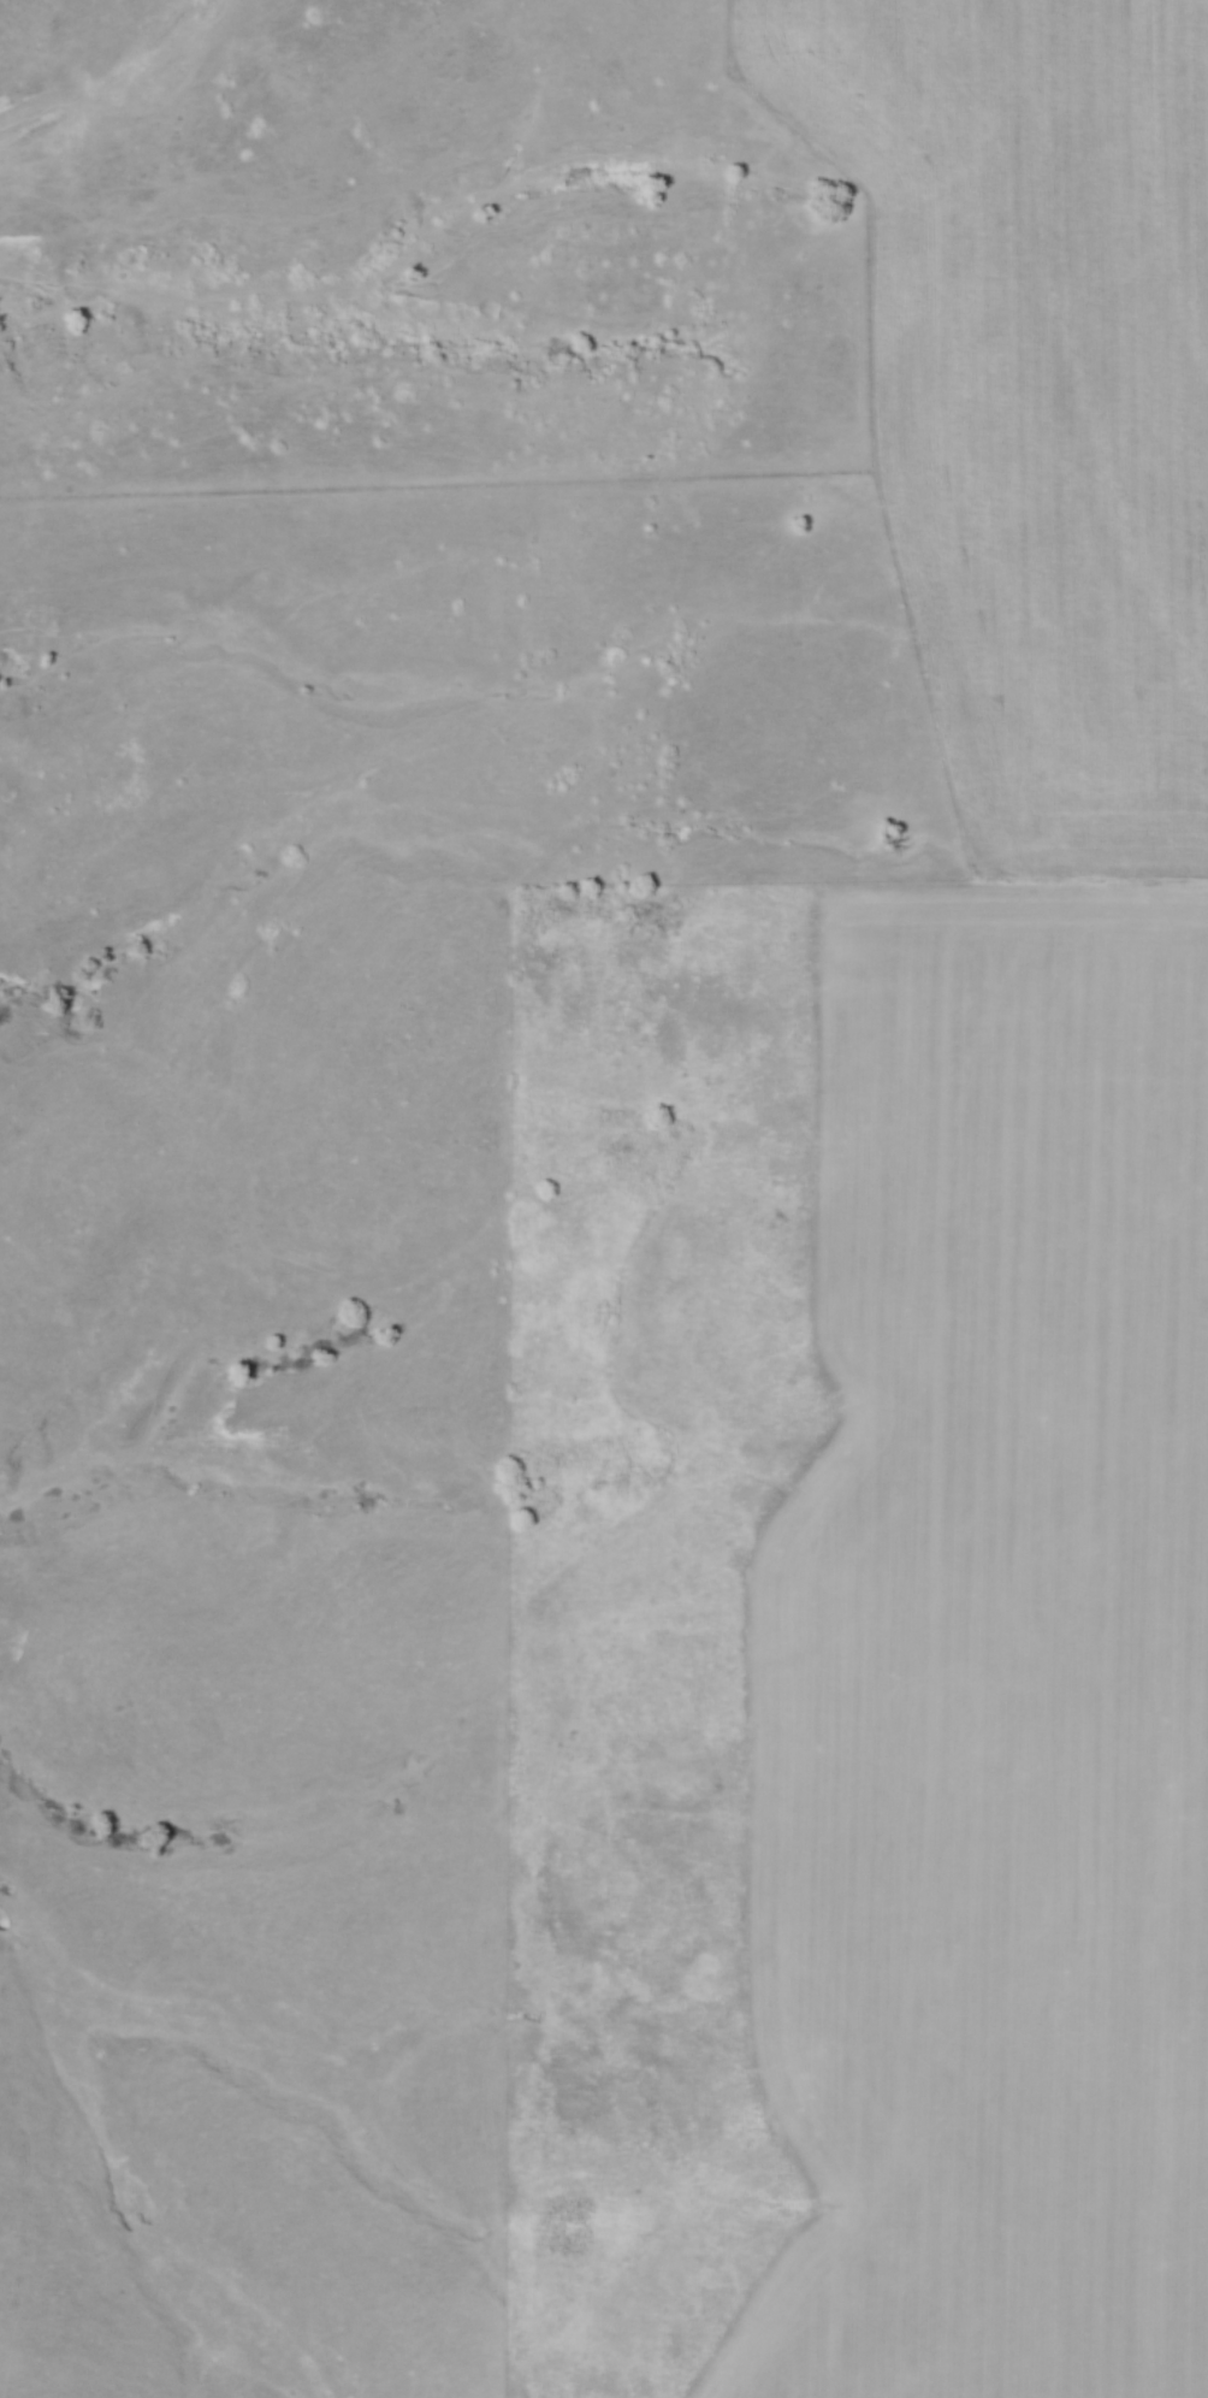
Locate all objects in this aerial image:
crop: (991, 1667)

